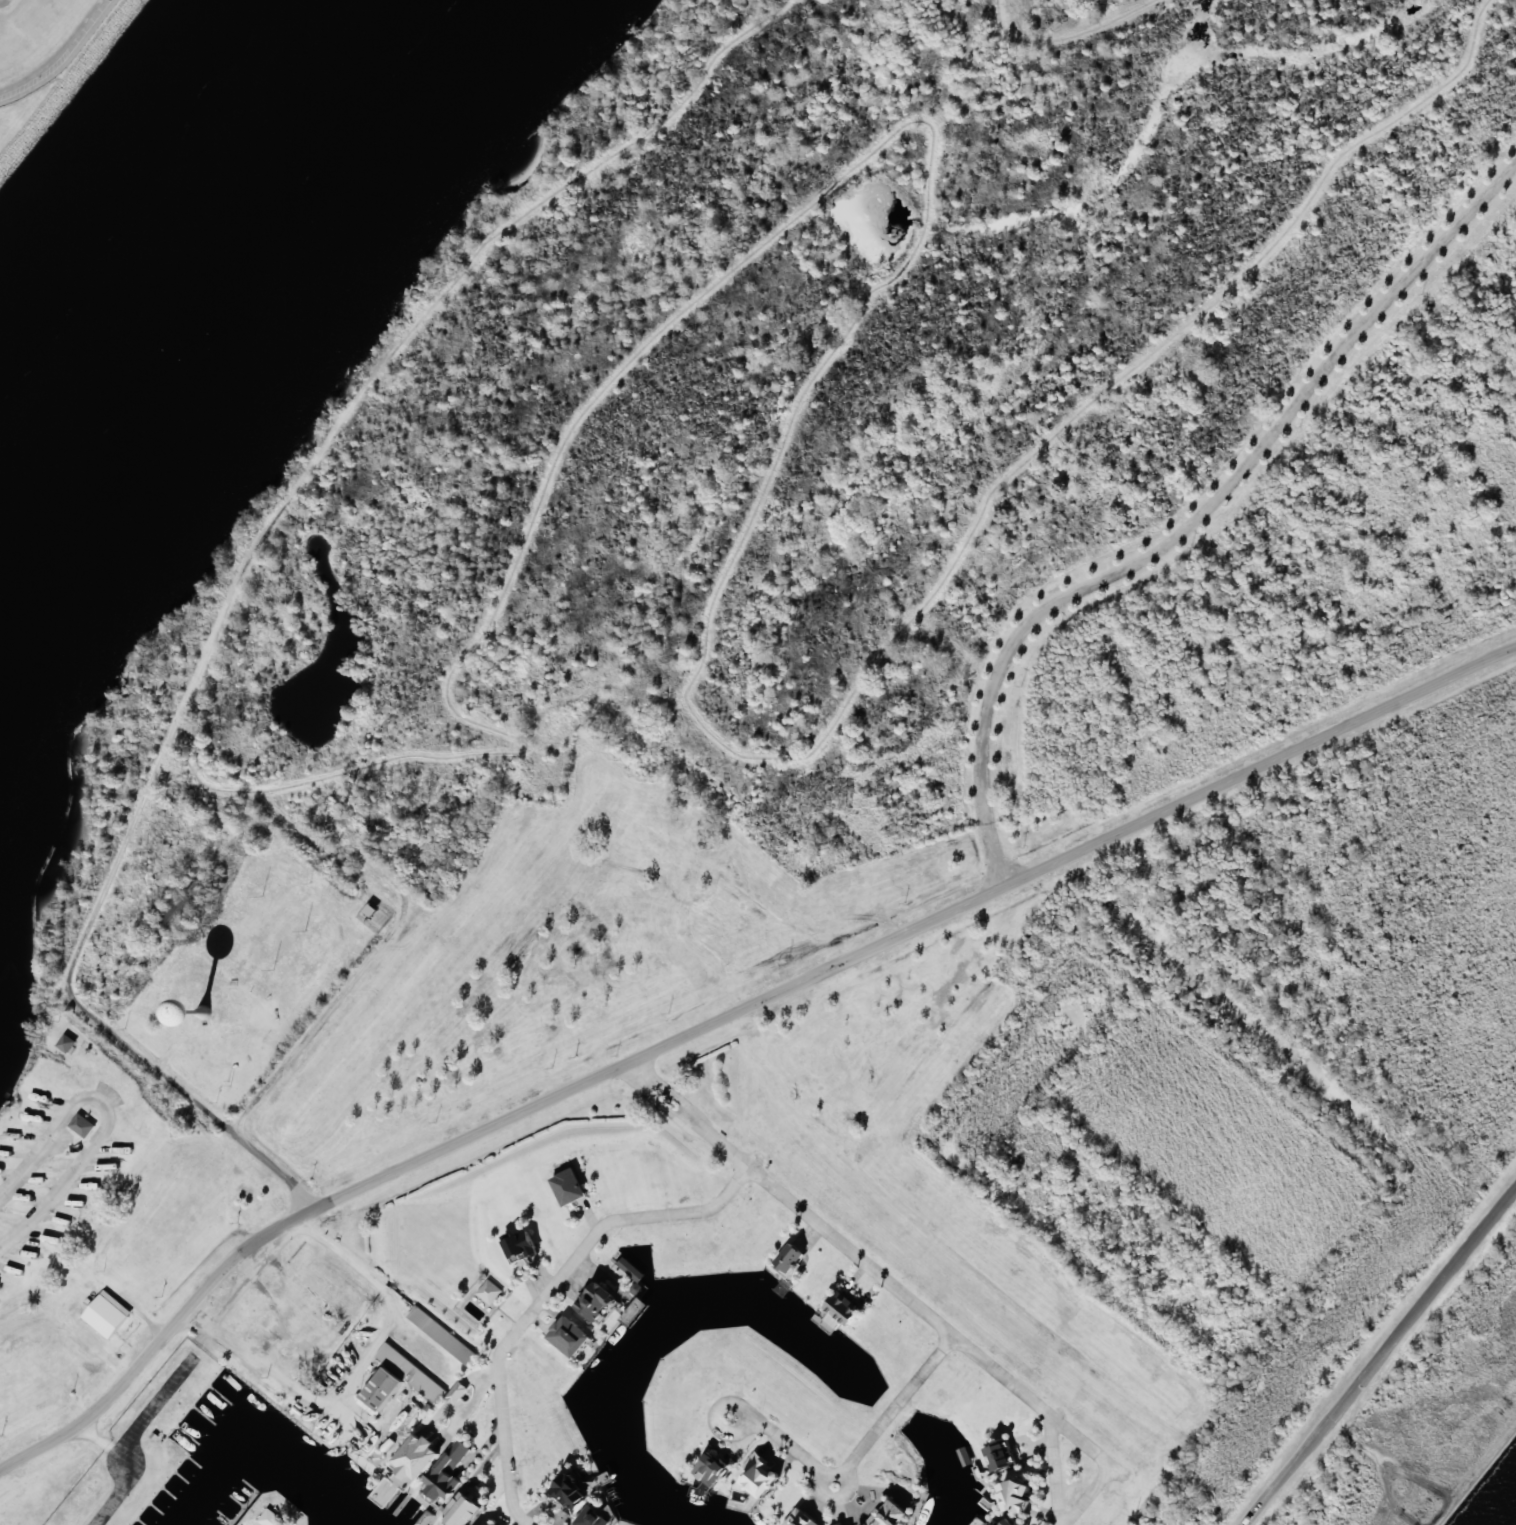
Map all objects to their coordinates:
road: (63, 56)
road: (112, 876)
road: (271, 975)
road: (726, 1017)
building: (66, 1043)
road: (121, 1117)
building: (82, 1125)
building: (569, 1187)
building: (521, 1245)
building: (789, 1259)
road: (900, 1289)
building: (489, 1291)
road: (549, 1296)
building: (596, 1301)
building: (842, 1310)
building: (107, 1314)
building: (442, 1335)
building: (569, 1336)
road: (1382, 1359)
building: (398, 1381)
building: (457, 1392)
road: (329, 1418)
road: (861, 1450)
building: (1000, 1456)
building: (417, 1457)
building: (712, 1469)
road: (1057, 1470)
building: (447, 1472)
building: (760, 1475)
building: (570, 1493)
building: (1015, 1496)
building: (463, 1509)
building: (890, 1514)
building: (592, 1517)
building: (271, 1518)
building: (802, 1518)
building: (493, 1523)

